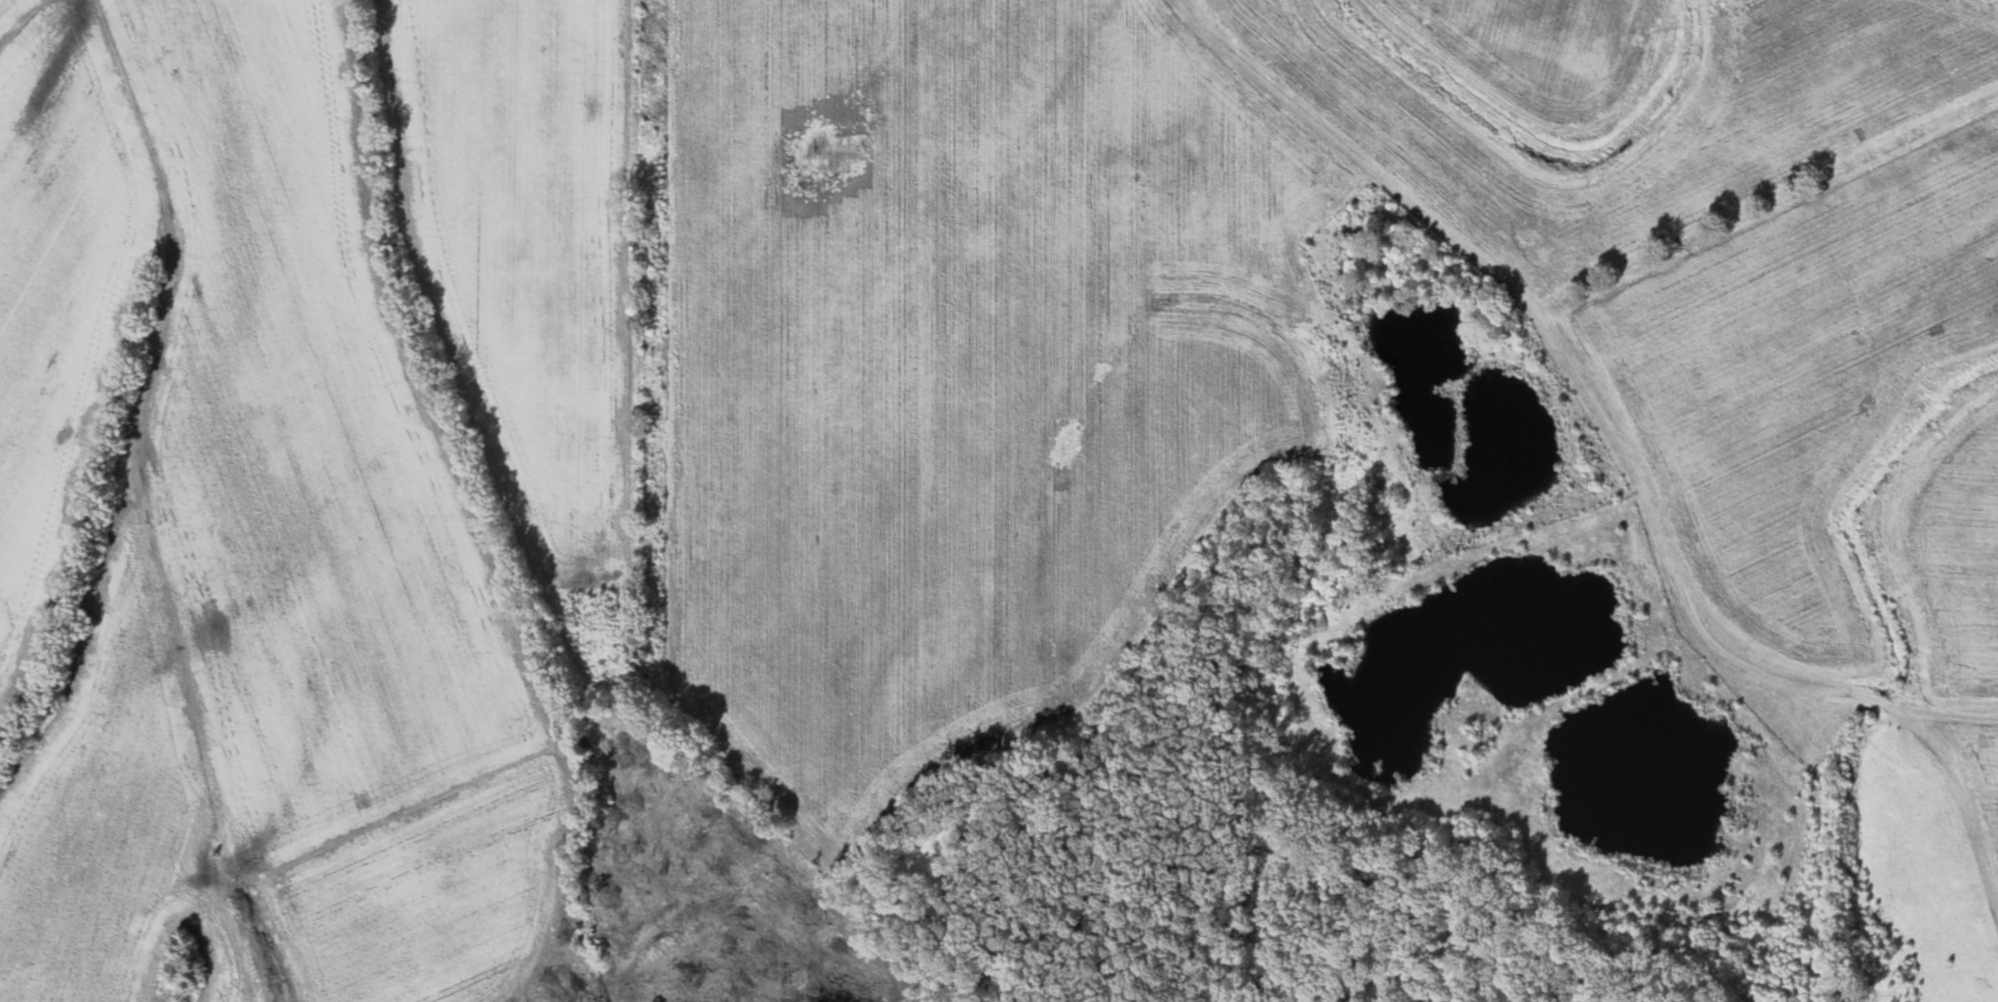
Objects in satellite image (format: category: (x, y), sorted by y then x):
road: (1556, 405)

